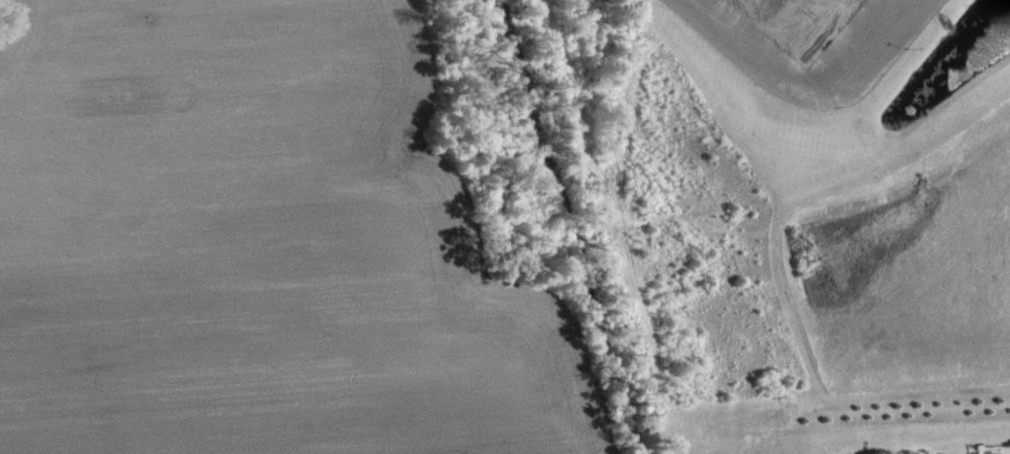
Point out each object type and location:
road: (808, 93)

